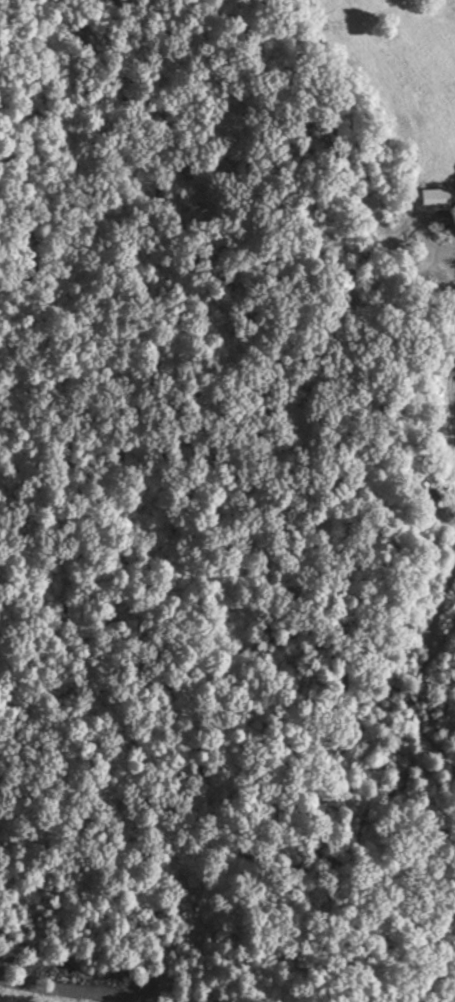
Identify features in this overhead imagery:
building: (429, 198)

